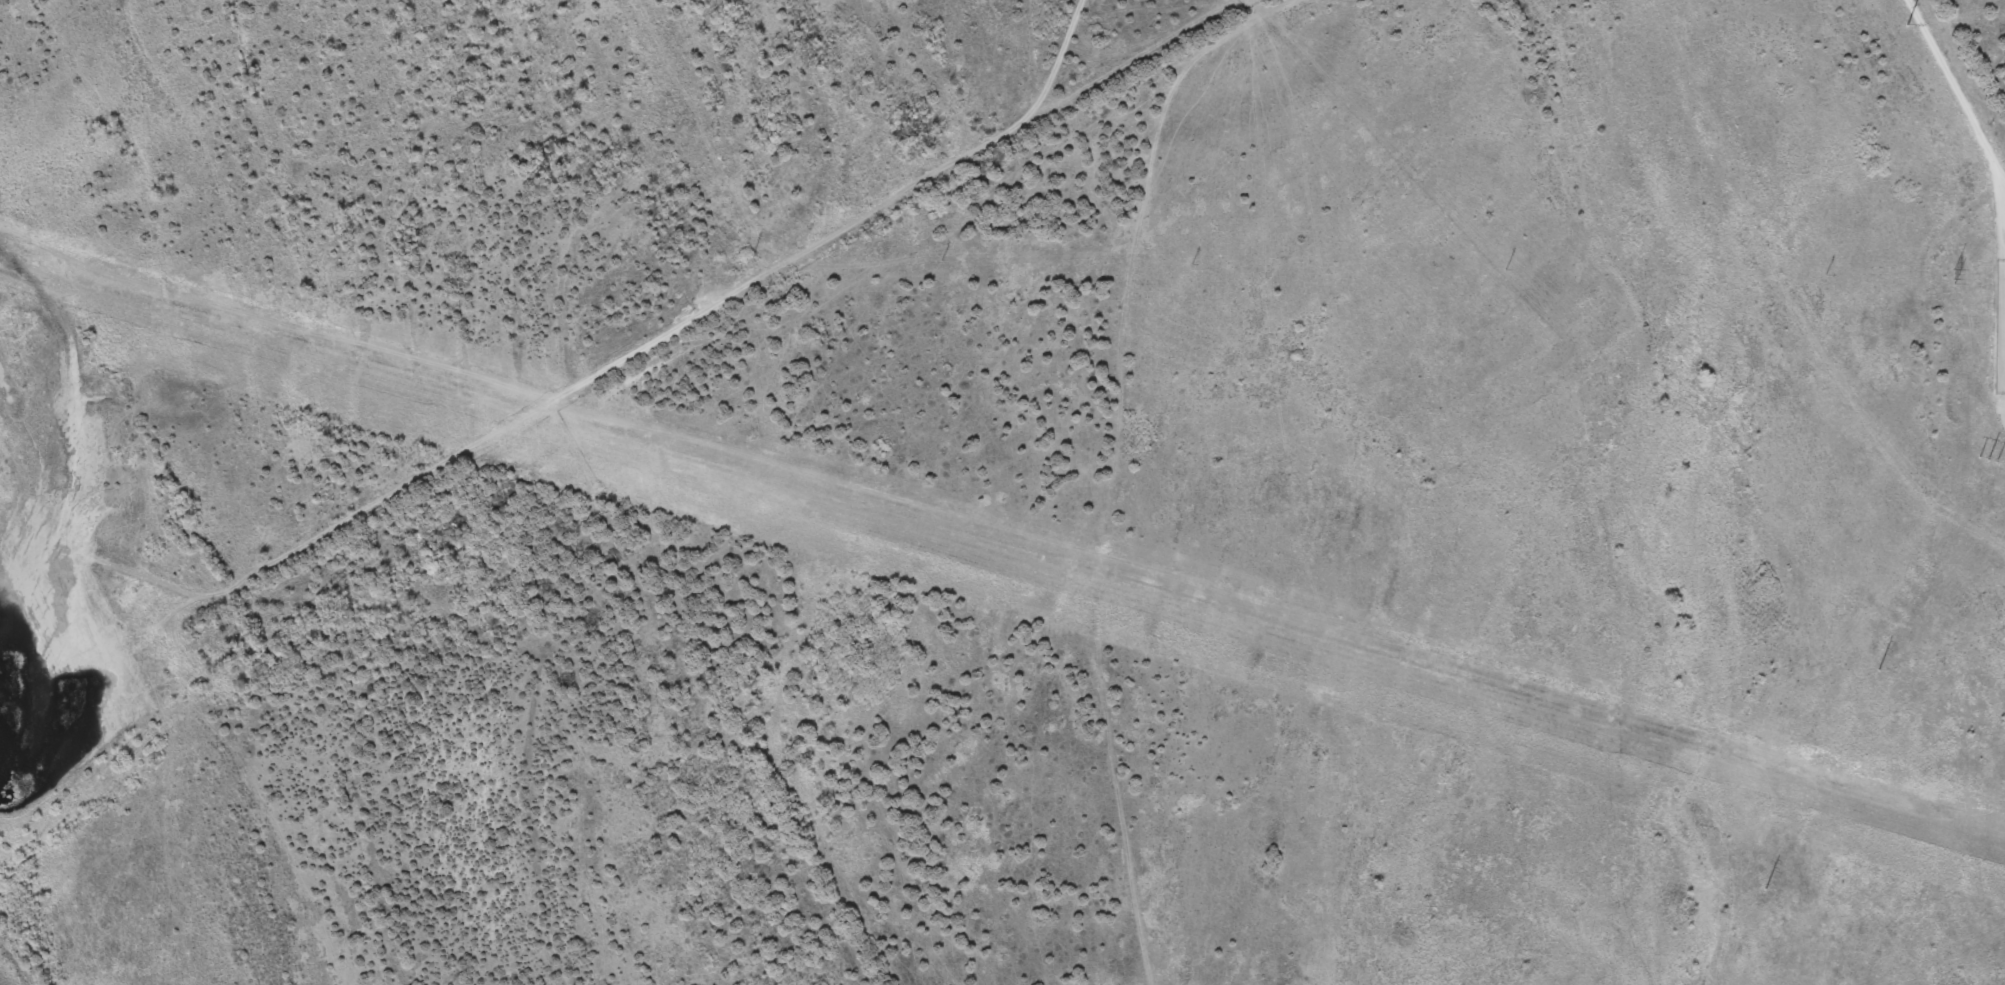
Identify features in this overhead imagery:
power substation: (2000, 318)
road: (626, 413)

